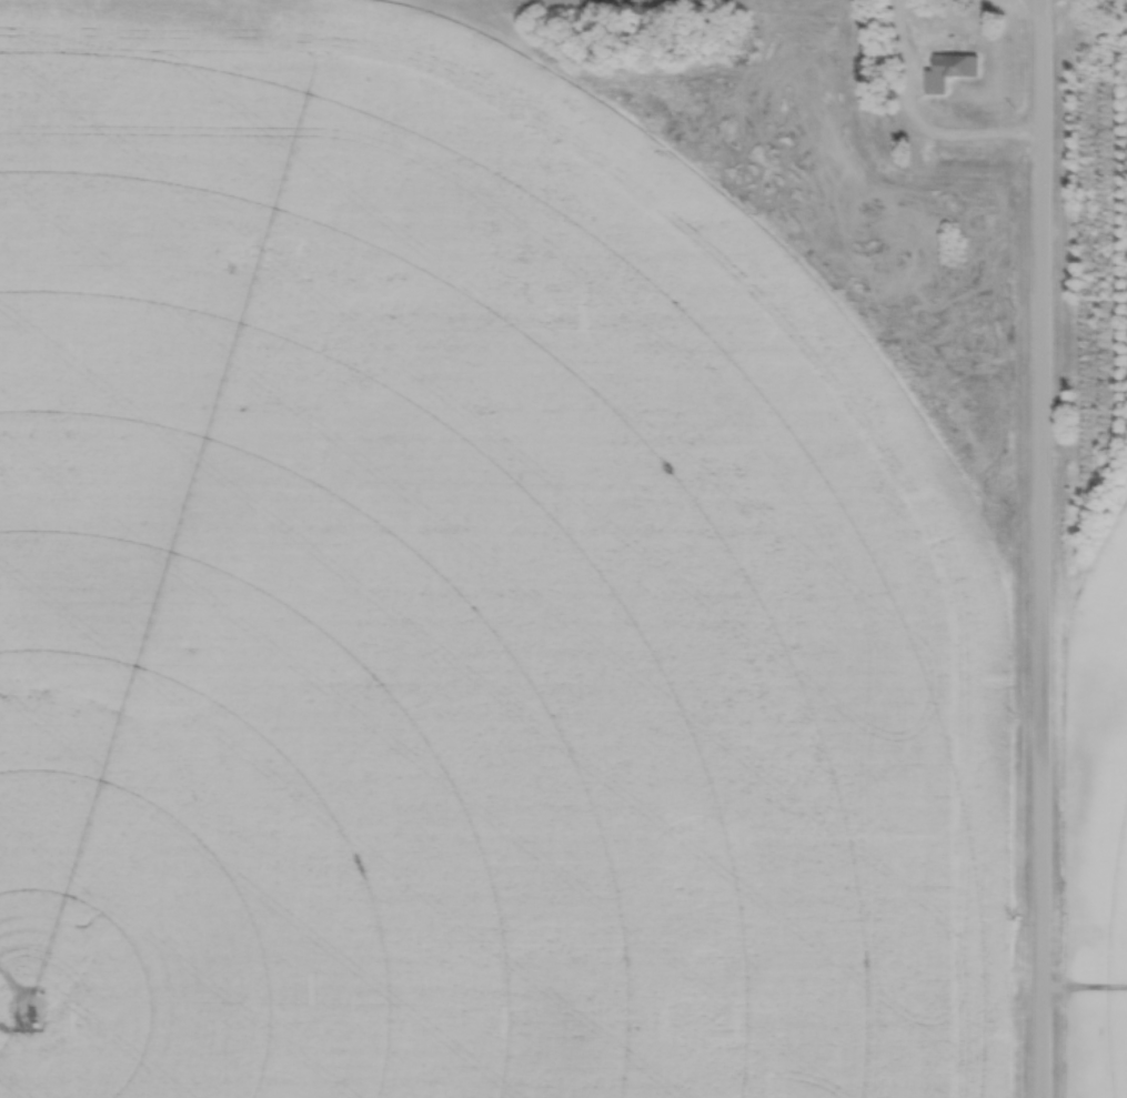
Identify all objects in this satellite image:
building: (944, 72)
road: (912, 130)
road: (1040, 548)

